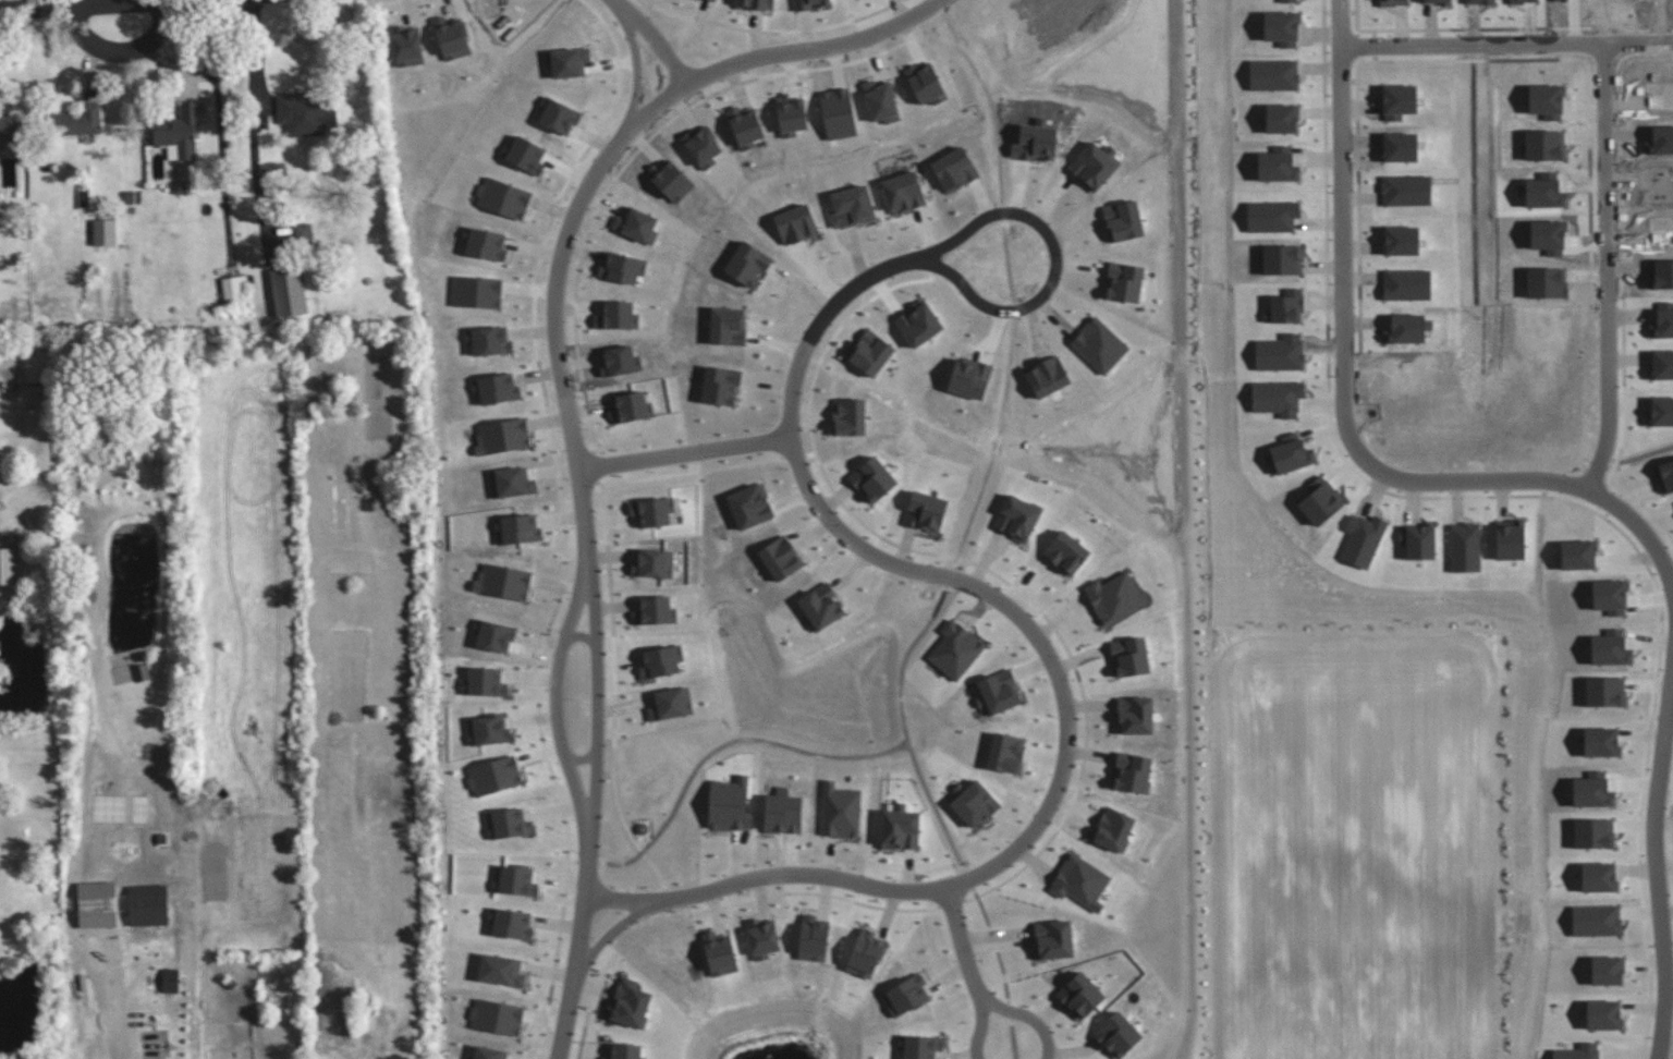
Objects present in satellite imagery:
road: (77, 5)
road: (649, 40)
road: (1639, 44)
road: (809, 46)
road: (122, 47)
road: (253, 61)
building: (305, 114)
building: (8, 124)
building: (180, 133)
road: (1607, 136)
road: (567, 222)
building: (105, 231)
building: (303, 231)
road: (879, 278)
building: (233, 288)
building: (289, 291)
building: (36, 367)
road: (1345, 415)
road: (581, 486)
building: (652, 510)
building: (925, 511)
road: (977, 535)
building: (1066, 551)
building: (8, 564)
road: (623, 607)
building: (655, 610)
road: (579, 635)
building: (662, 659)
building: (142, 671)
building: (485, 682)
road: (553, 693)
road: (597, 694)
road: (760, 742)
building: (1006, 752)
road: (582, 759)
building: (494, 775)
building: (840, 811)
building: (782, 813)
road: (1040, 818)
building: (1113, 828)
building: (900, 829)
road: (1656, 856)
building: (514, 880)
building: (1080, 880)
road: (614, 898)
building: (147, 904)
road: (579, 938)
road: (964, 945)
building: (865, 953)
road: (99, 978)
building: (170, 979)
building: (628, 1005)
road: (1001, 1007)
building: (497, 1015)
building: (625, 1051)

